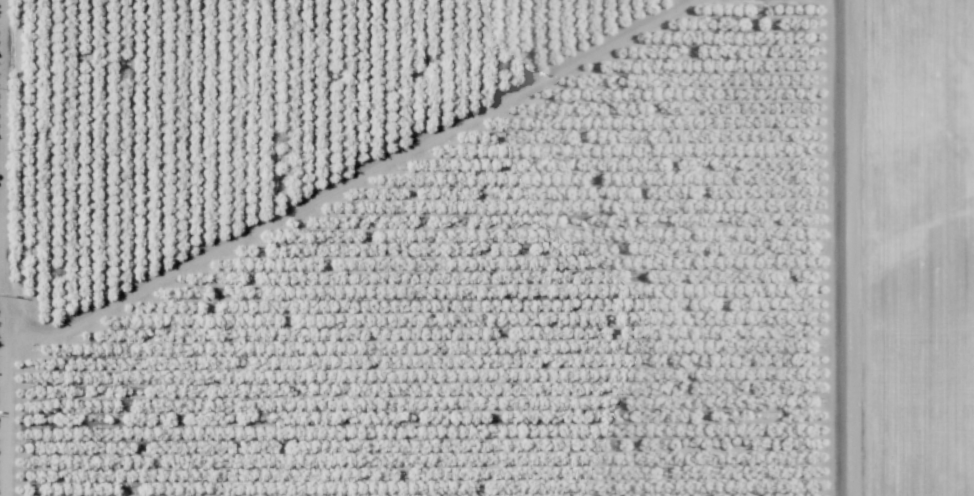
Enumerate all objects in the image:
crop: (216, 113)
road: (836, 248)
crop: (915, 248)
crop: (6, 431)

